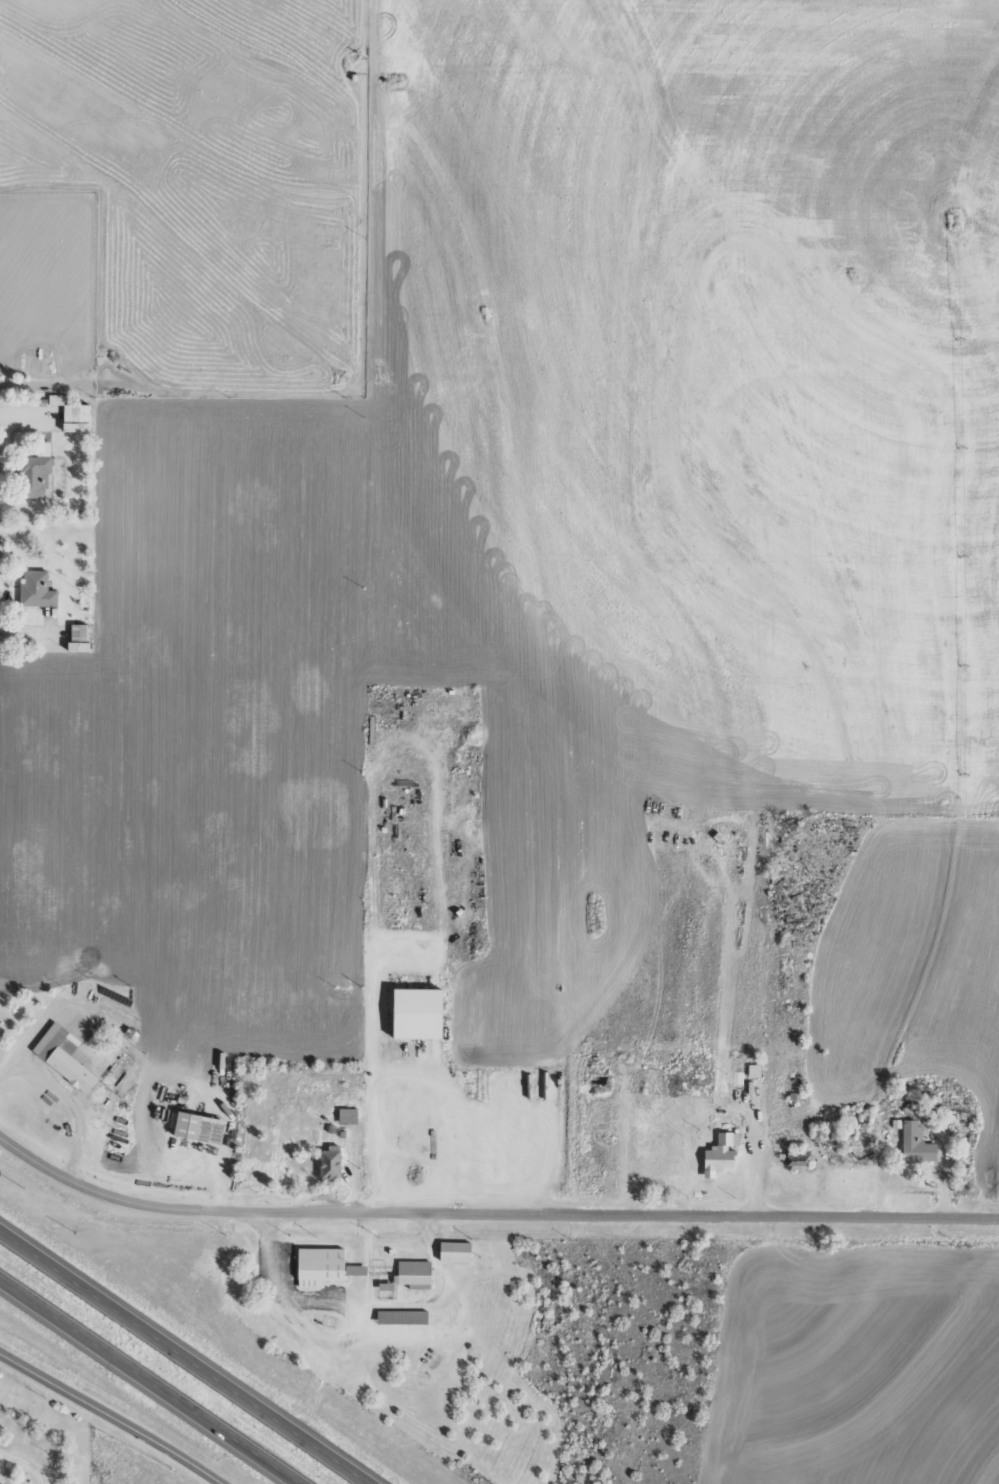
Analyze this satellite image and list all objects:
building: (57, 399)
building: (78, 418)
building: (35, 476)
building: (38, 590)
building: (80, 638)
building: (411, 1021)
building: (63, 1056)
building: (756, 1071)
building: (738, 1077)
building: (198, 1128)
building: (918, 1144)
building: (722, 1154)
building: (800, 1159)
building: (332, 1163)
road: (491, 1208)
building: (457, 1250)
building: (321, 1267)
building: (413, 1274)
building: (401, 1317)
road: (187, 1355)
road: (154, 1378)
road: (113, 1415)

